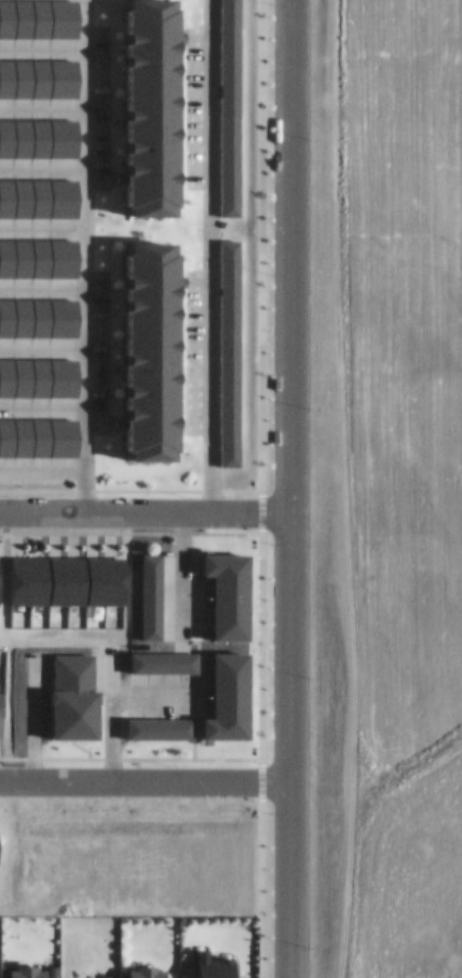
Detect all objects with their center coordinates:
road: (83, 254)
road: (210, 254)
road: (289, 489)
road: (144, 509)
road: (180, 572)
road: (109, 690)
road: (144, 778)

